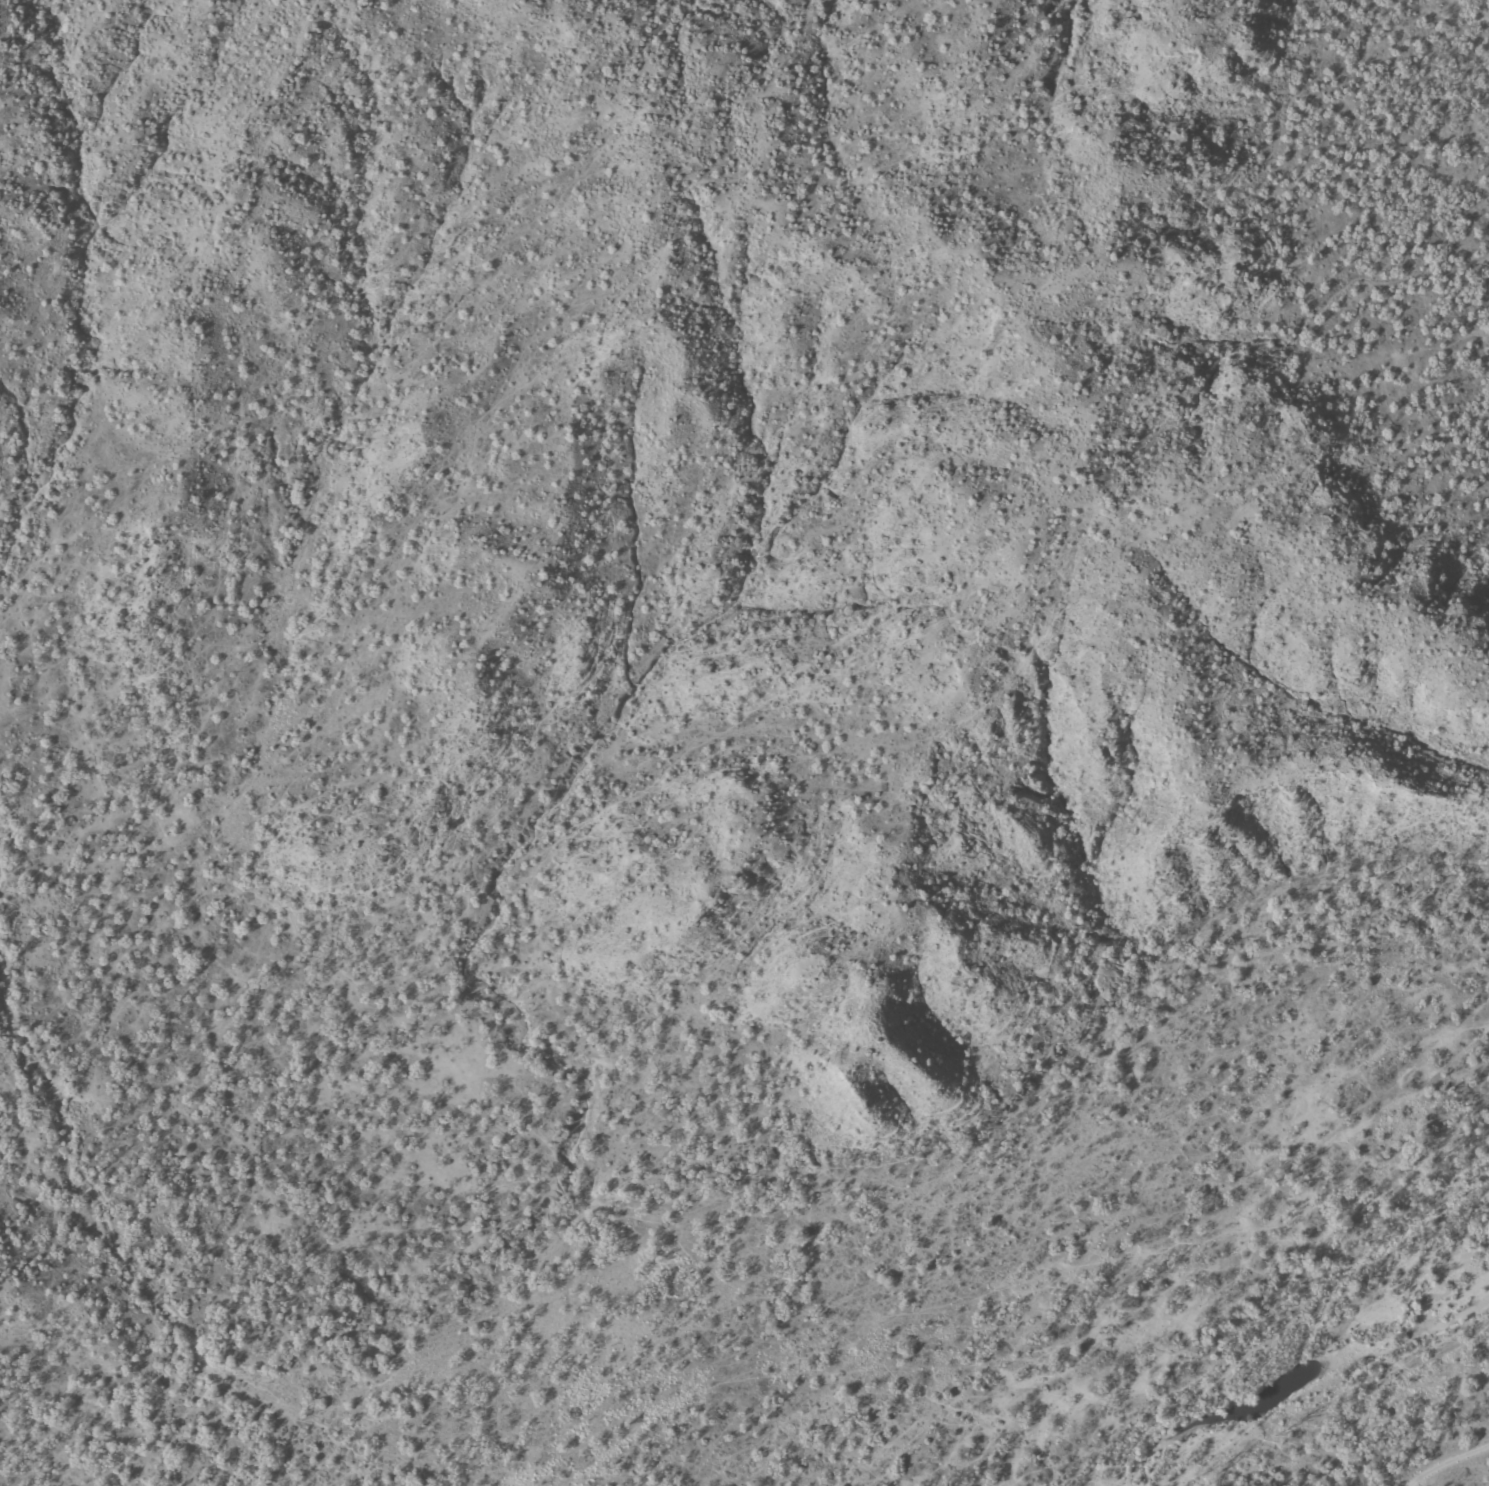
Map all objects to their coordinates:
road: (1458, 1466)

